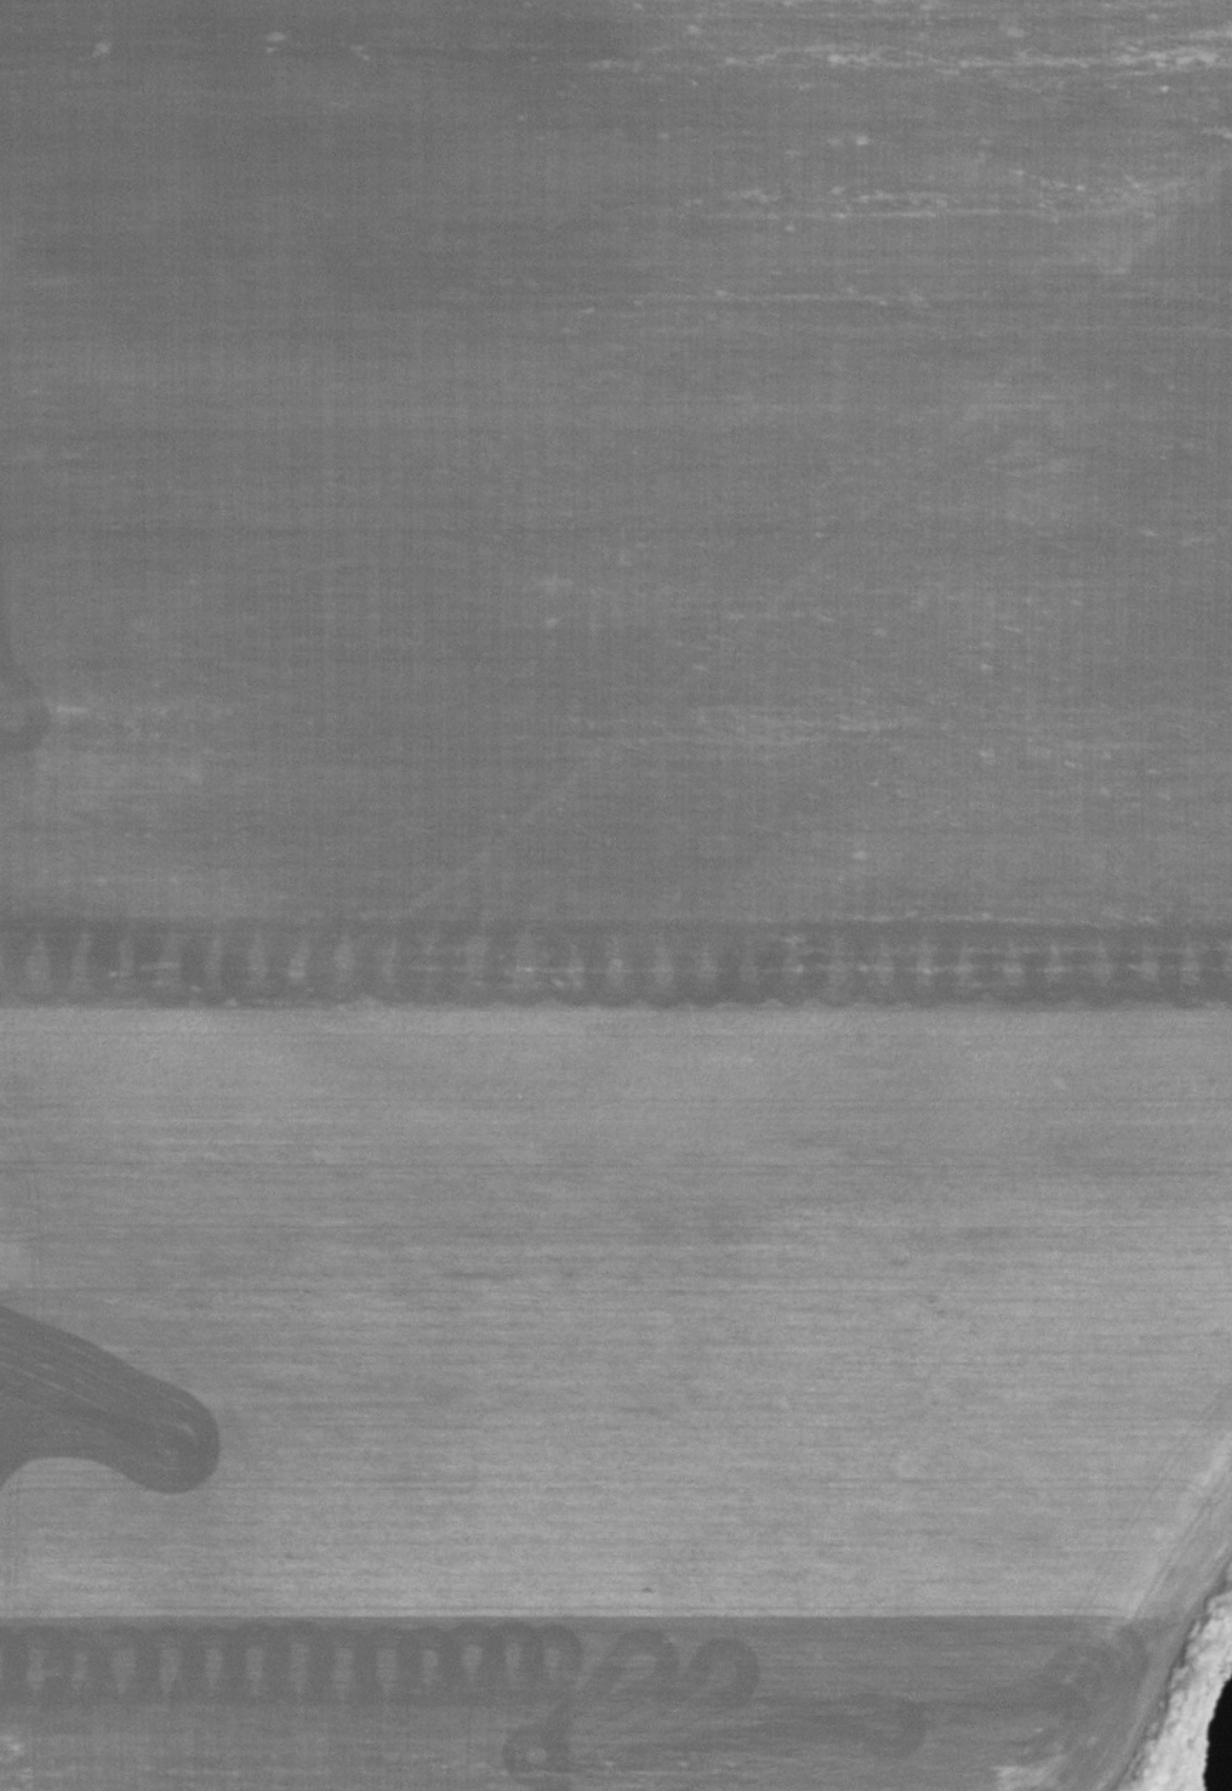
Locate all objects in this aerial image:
road: (1165, 1667)

